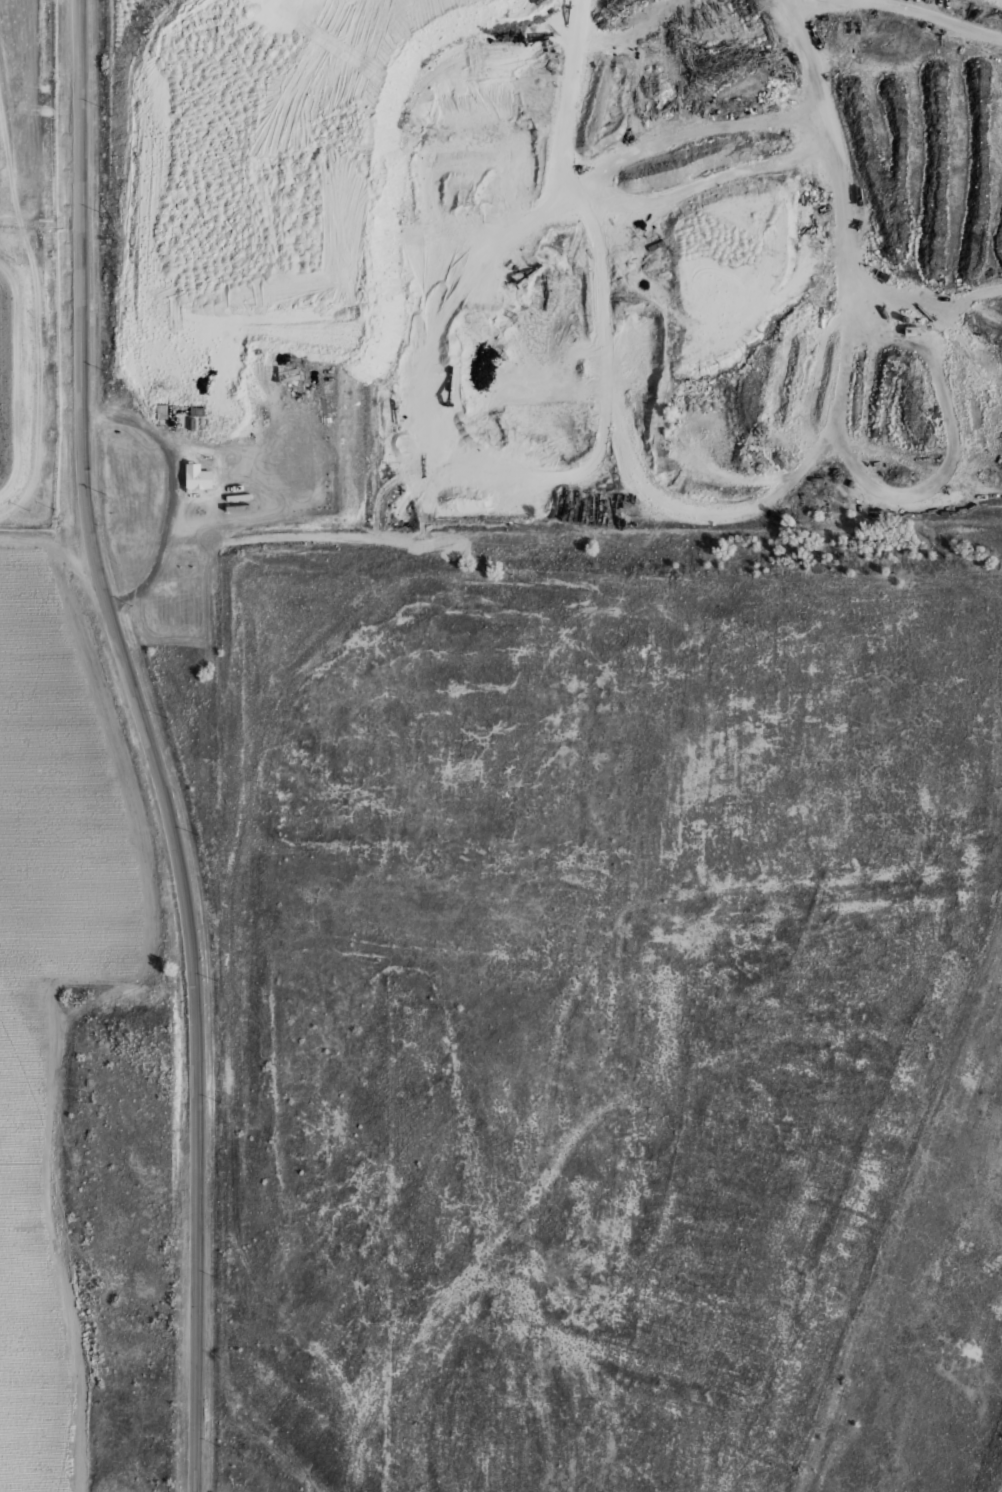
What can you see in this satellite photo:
road: (797, 10)
road: (918, 11)
road: (333, 14)
road: (115, 107)
road: (579, 191)
road: (299, 234)
landfill: (31, 261)
road: (983, 306)
road: (36, 309)
road: (939, 375)
road: (20, 382)
road: (425, 402)
building: (161, 409)
building: (198, 476)
road: (172, 495)
building: (238, 496)
building: (239, 507)
road: (717, 513)
road: (12, 539)
road: (150, 743)

